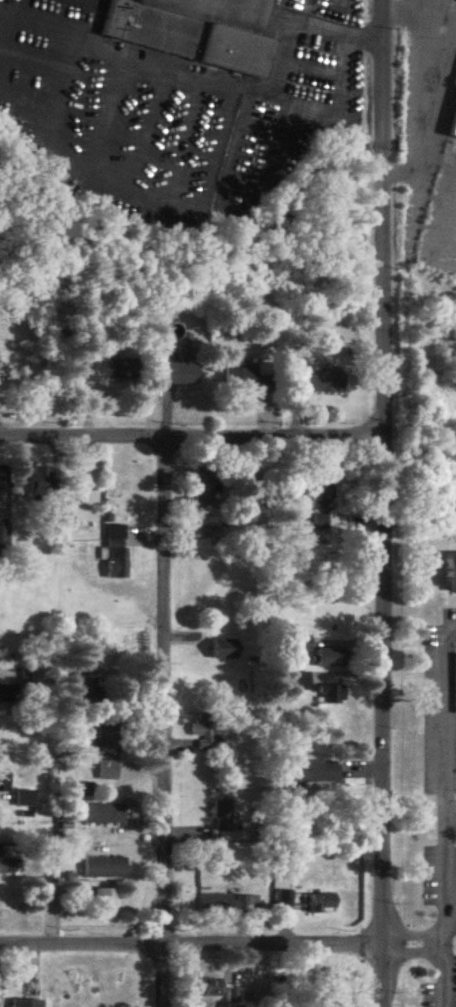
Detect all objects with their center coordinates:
building: (195, 31)
road: (336, 34)
road: (159, 68)
road: (421, 92)
road: (294, 105)
building: (454, 132)
road: (436, 162)
building: (115, 368)
building: (177, 373)
building: (246, 380)
building: (324, 384)
road: (193, 440)
building: (41, 481)
building: (4, 483)
building: (205, 491)
building: (322, 497)
road: (385, 503)
building: (319, 523)
building: (4, 539)
building: (116, 552)
building: (450, 573)
building: (299, 645)
building: (224, 650)
building: (333, 658)
building: (299, 682)
building: (83, 688)
building: (6, 695)
building: (331, 695)
road: (165, 723)
road: (447, 724)
building: (204, 732)
building: (105, 736)
building: (107, 771)
building: (313, 773)
building: (4, 782)
building: (23, 799)
building: (104, 814)
building: (224, 817)
road: (451, 820)
building: (7, 862)
building: (104, 867)
building: (285, 899)
building: (104, 900)
building: (321, 903)
building: (228, 905)
road: (447, 913)
road: (191, 946)
road: (415, 946)
building: (209, 988)
building: (0, 990)
building: (26, 1004)

